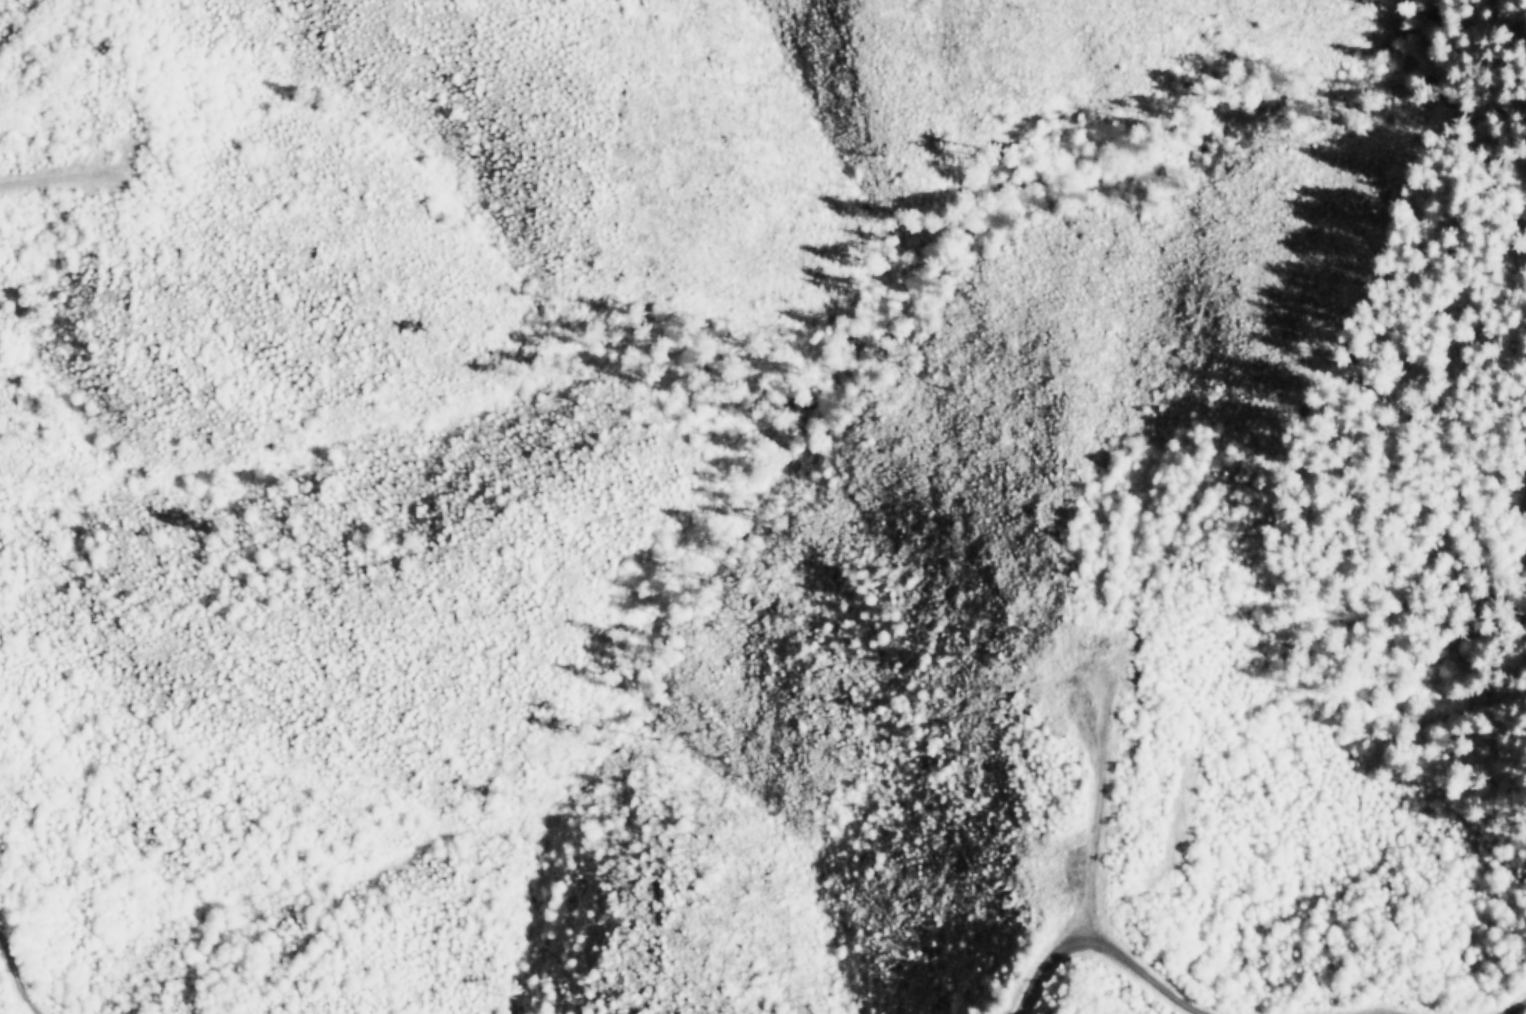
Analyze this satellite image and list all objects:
road: (16, 967)
road: (1122, 967)
road: (1507, 1003)

